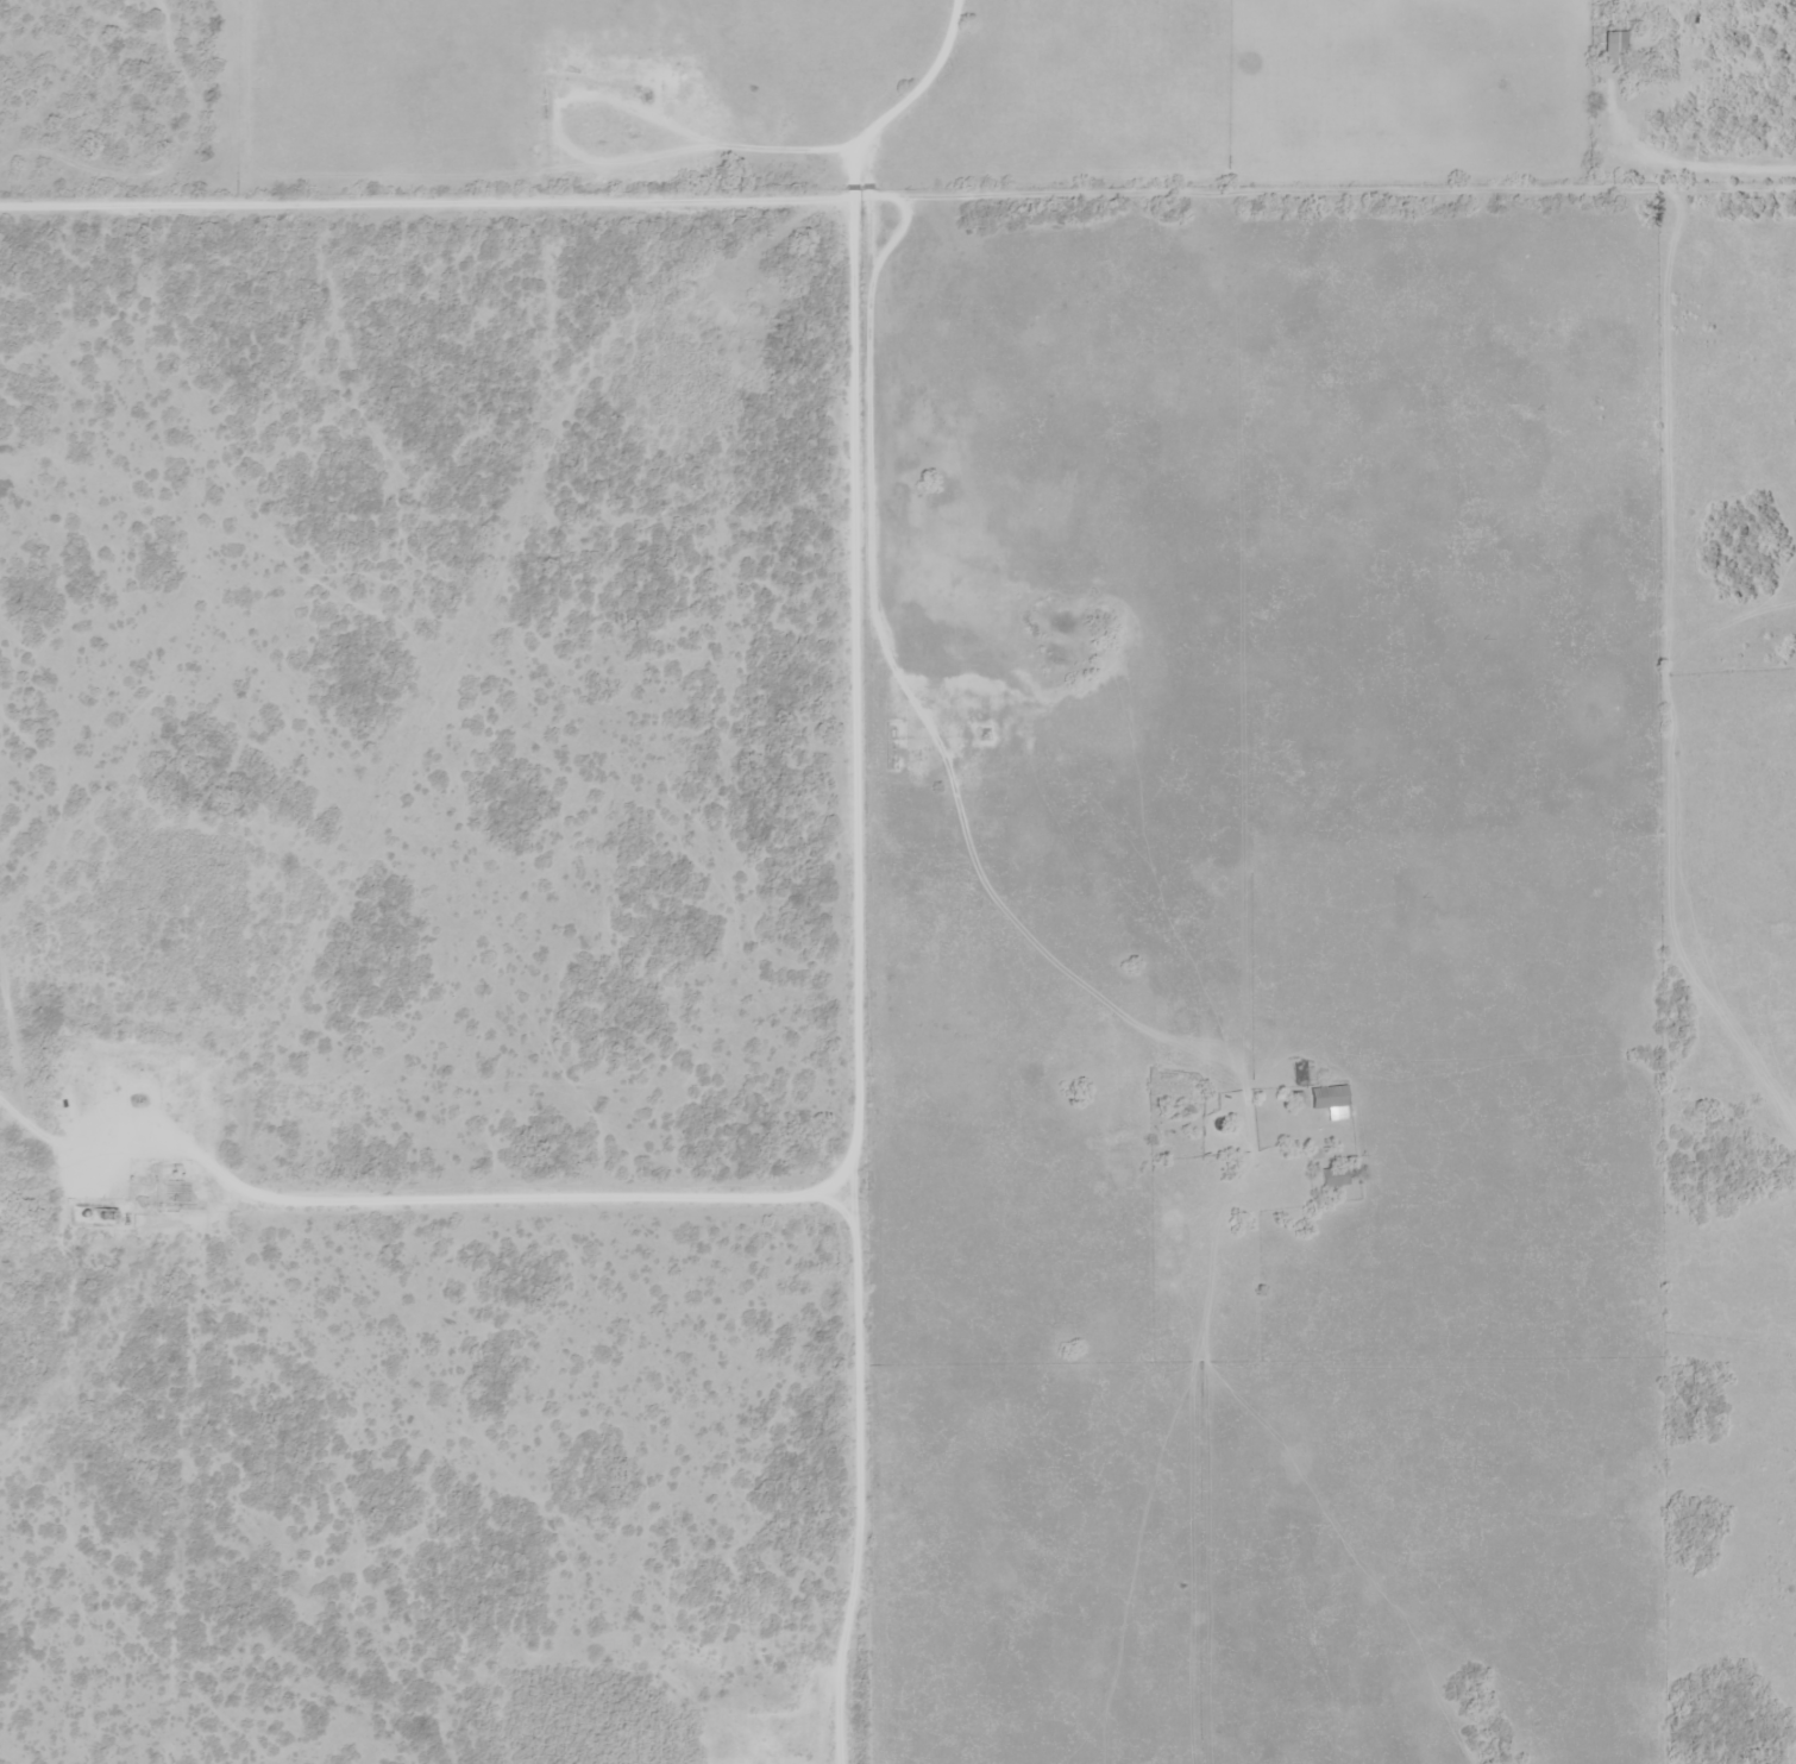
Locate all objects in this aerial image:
building: (1613, 46)
road: (514, 169)
road: (825, 966)
building: (1327, 1096)
building: (1333, 1175)

